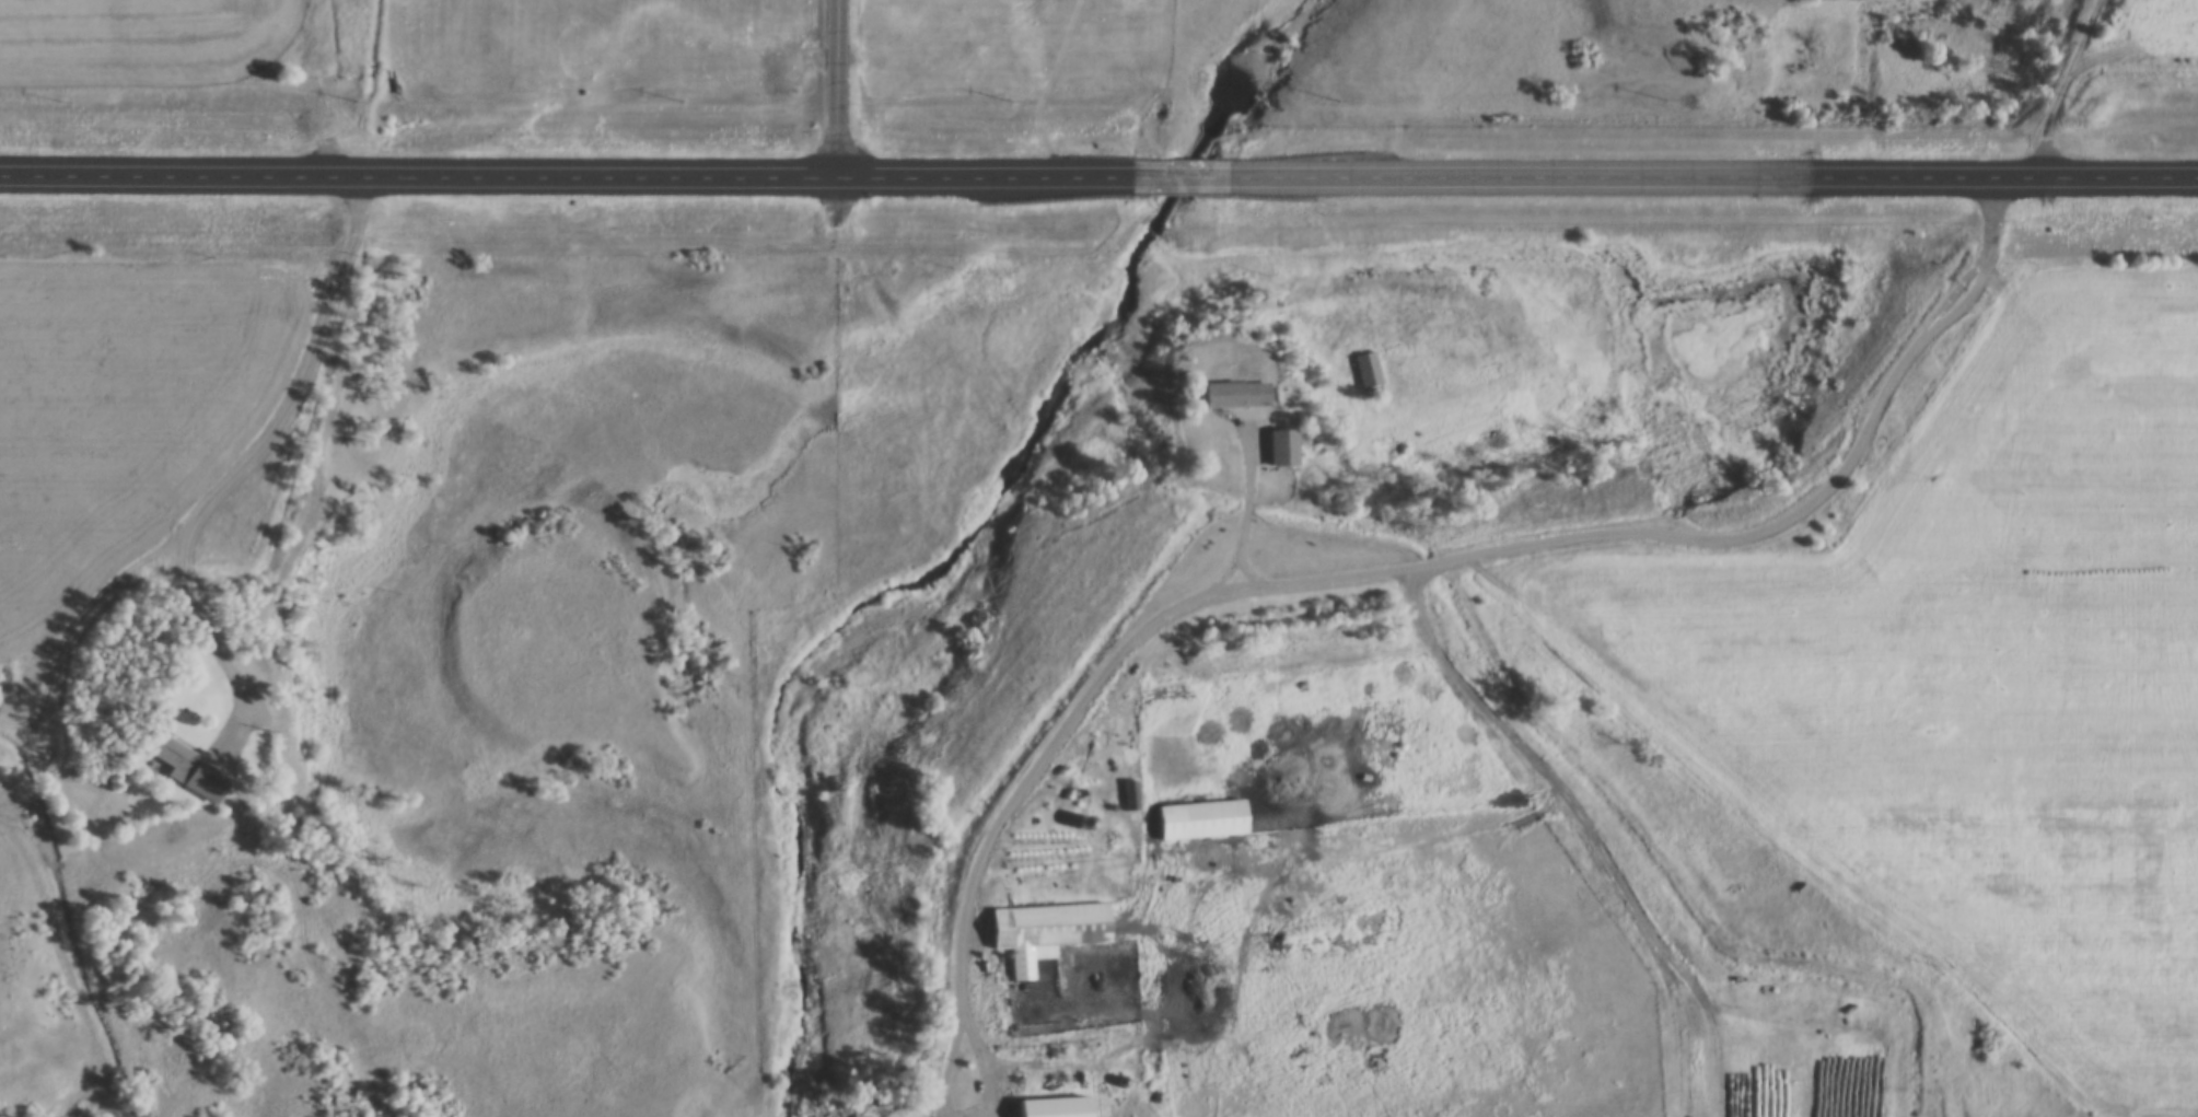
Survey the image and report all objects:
road: (2060, 83)
road: (834, 86)
road: (566, 173)
road: (1181, 173)
road: (1713, 173)
building: (1368, 372)
building: (1256, 420)
road: (237, 467)
road: (1247, 503)
road: (1326, 575)
building: (188, 768)
building: (1131, 798)
building: (1202, 821)
road: (1578, 835)
building: (1046, 933)
building: (1036, 1112)

